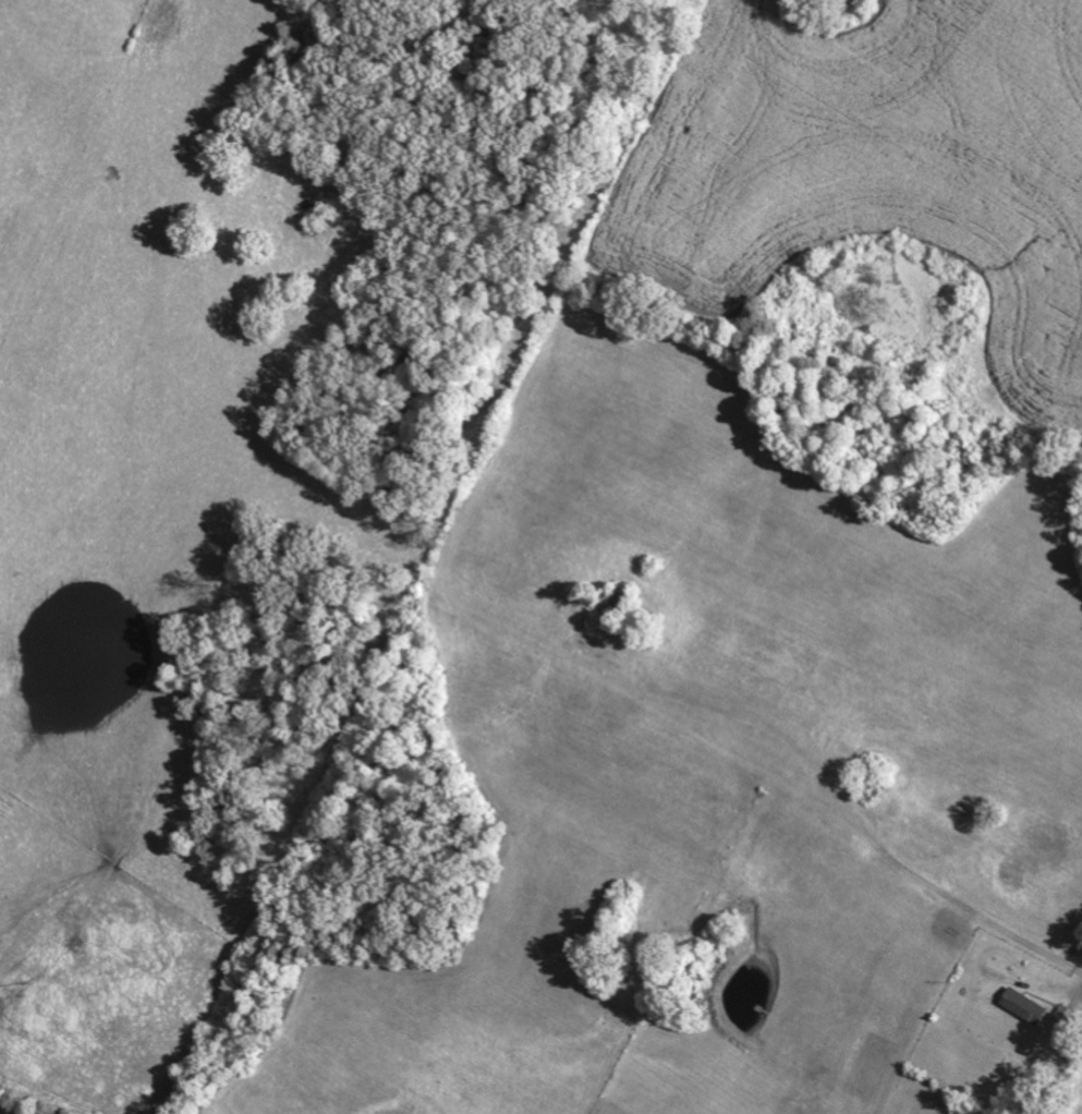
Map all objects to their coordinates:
road: (1057, 961)
building: (1029, 1007)

